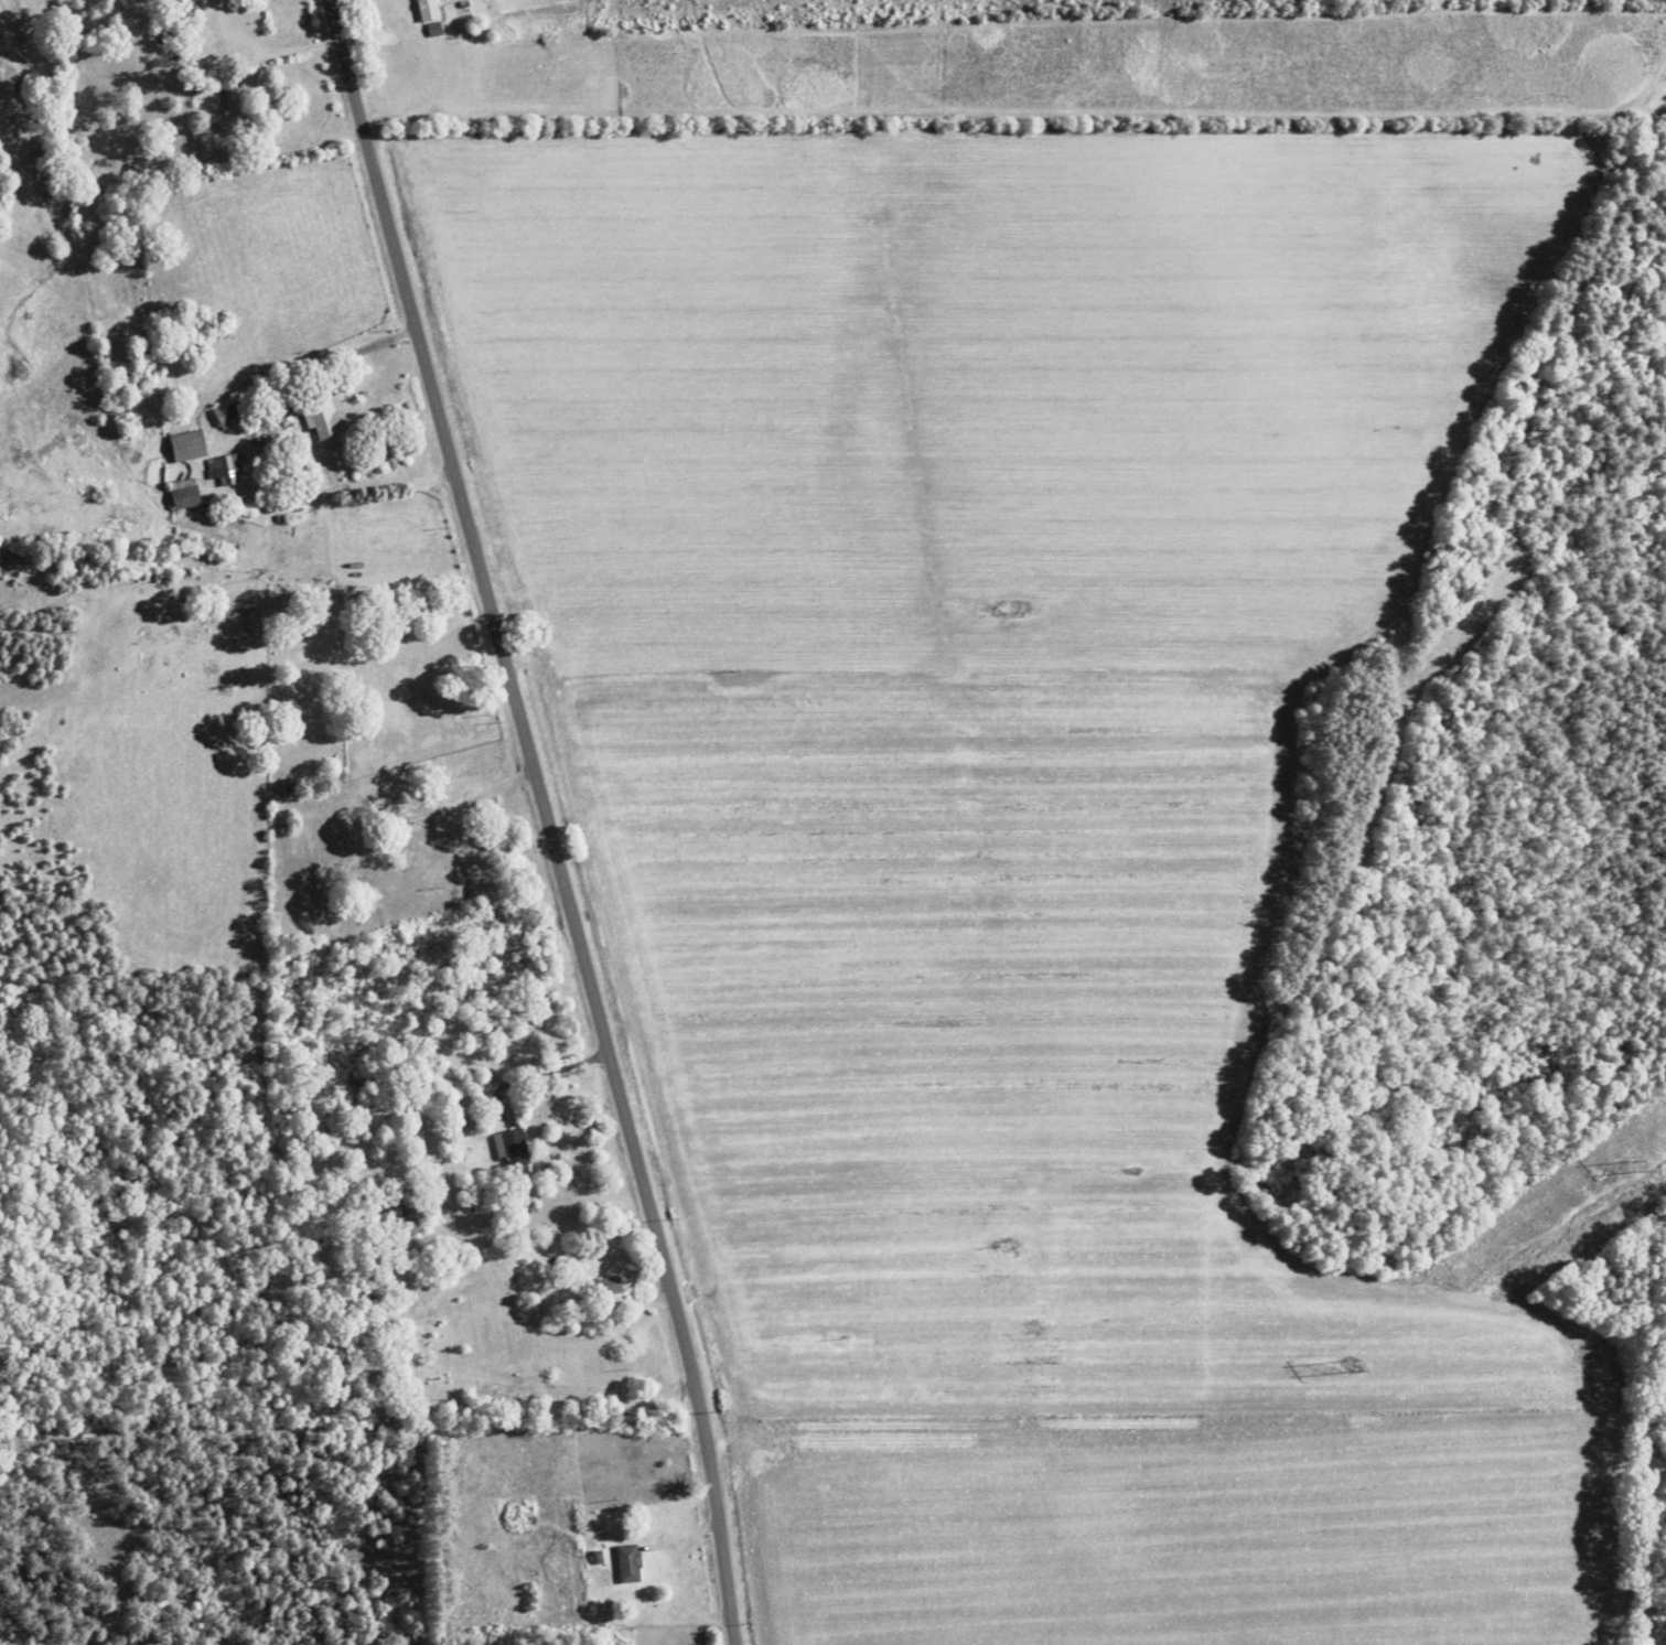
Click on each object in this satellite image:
building: (426, 10)
building: (227, 95)
road: (348, 354)
building: (227, 413)
building: (321, 422)
building: (185, 447)
building: (222, 467)
building: (182, 494)
building: (337, 773)
road: (541, 817)
building: (402, 838)
road: (537, 1072)
building: (513, 1157)
power tower: (1633, 1166)
building: (405, 1203)
building: (604, 1288)
power tower: (1351, 1367)
road: (1640, 1514)
building: (627, 1563)

